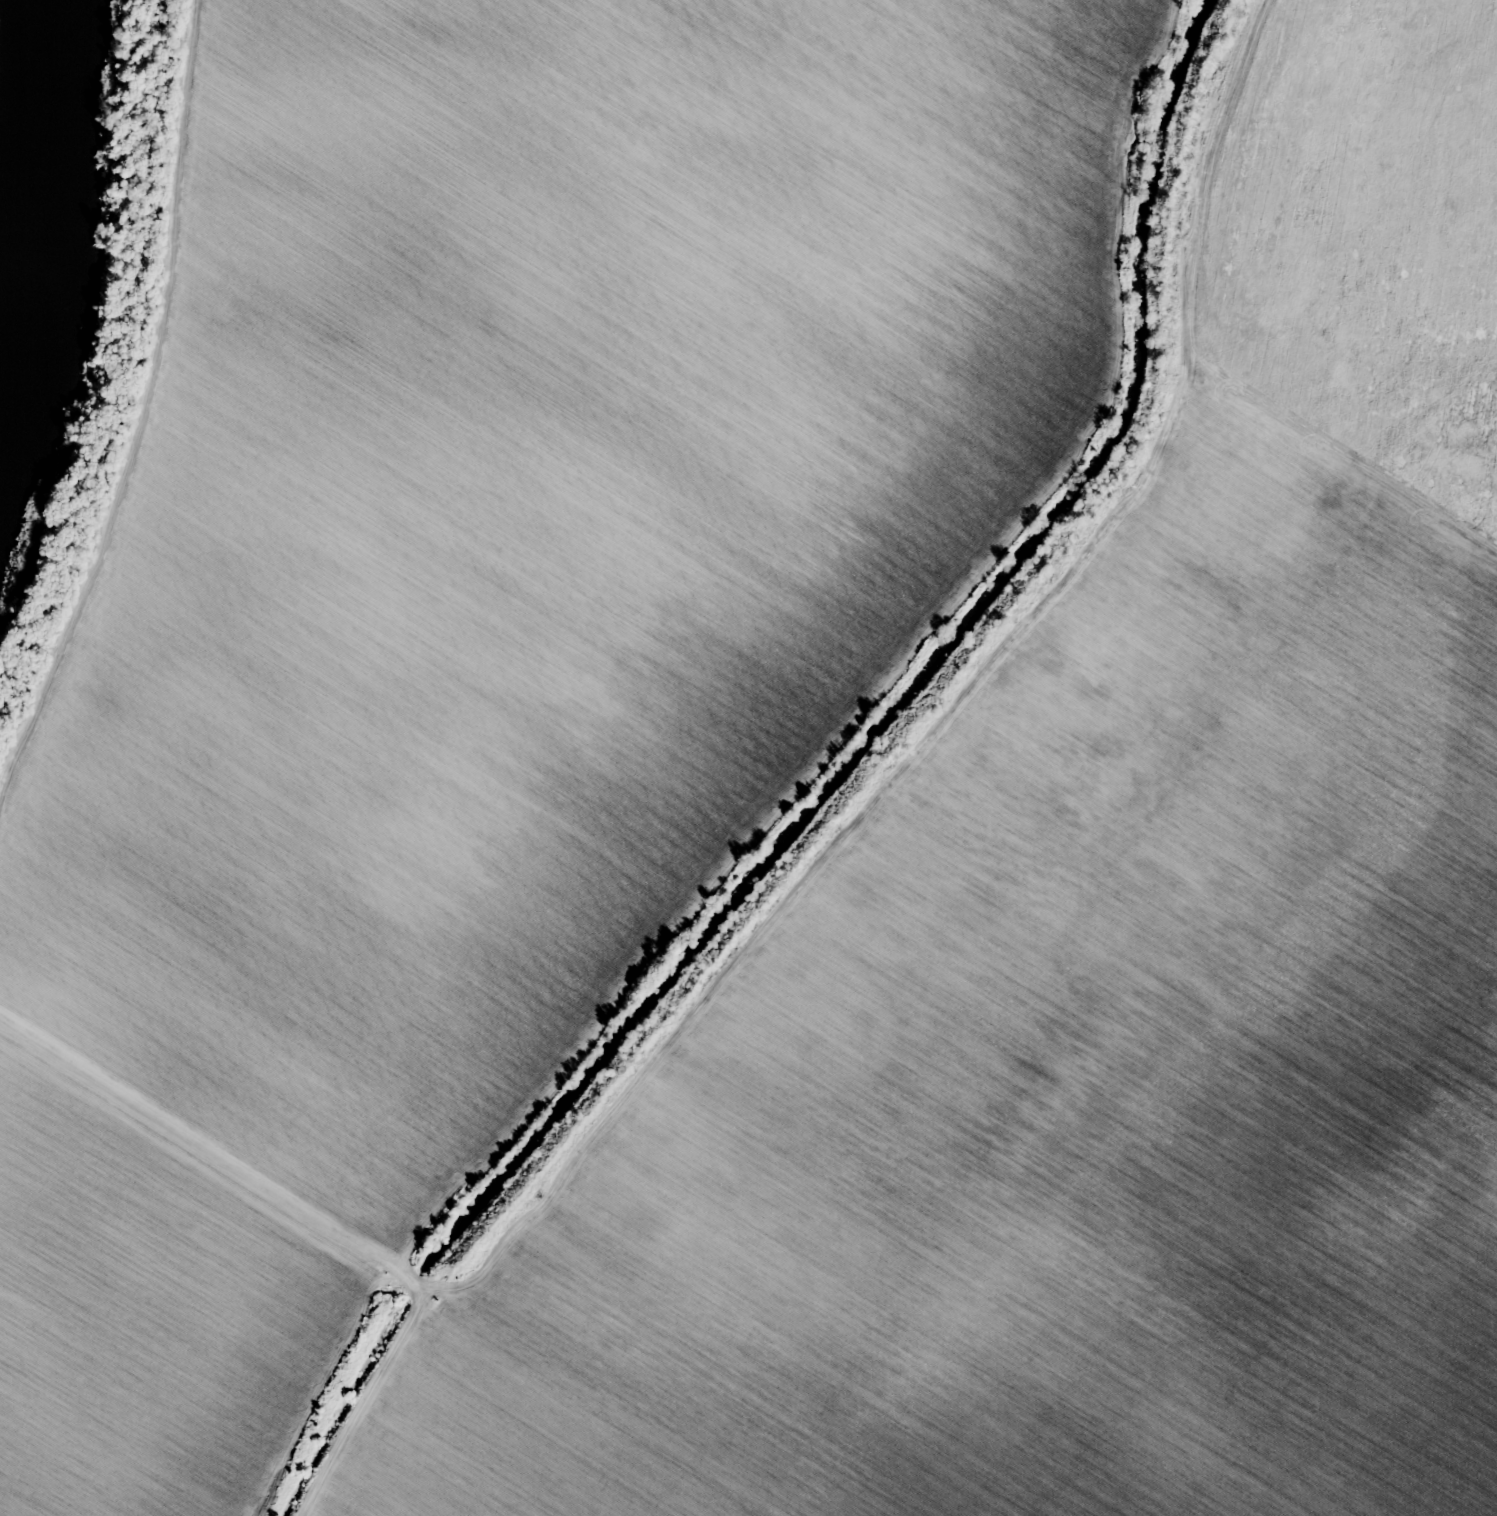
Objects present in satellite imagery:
road: (141, 406)

